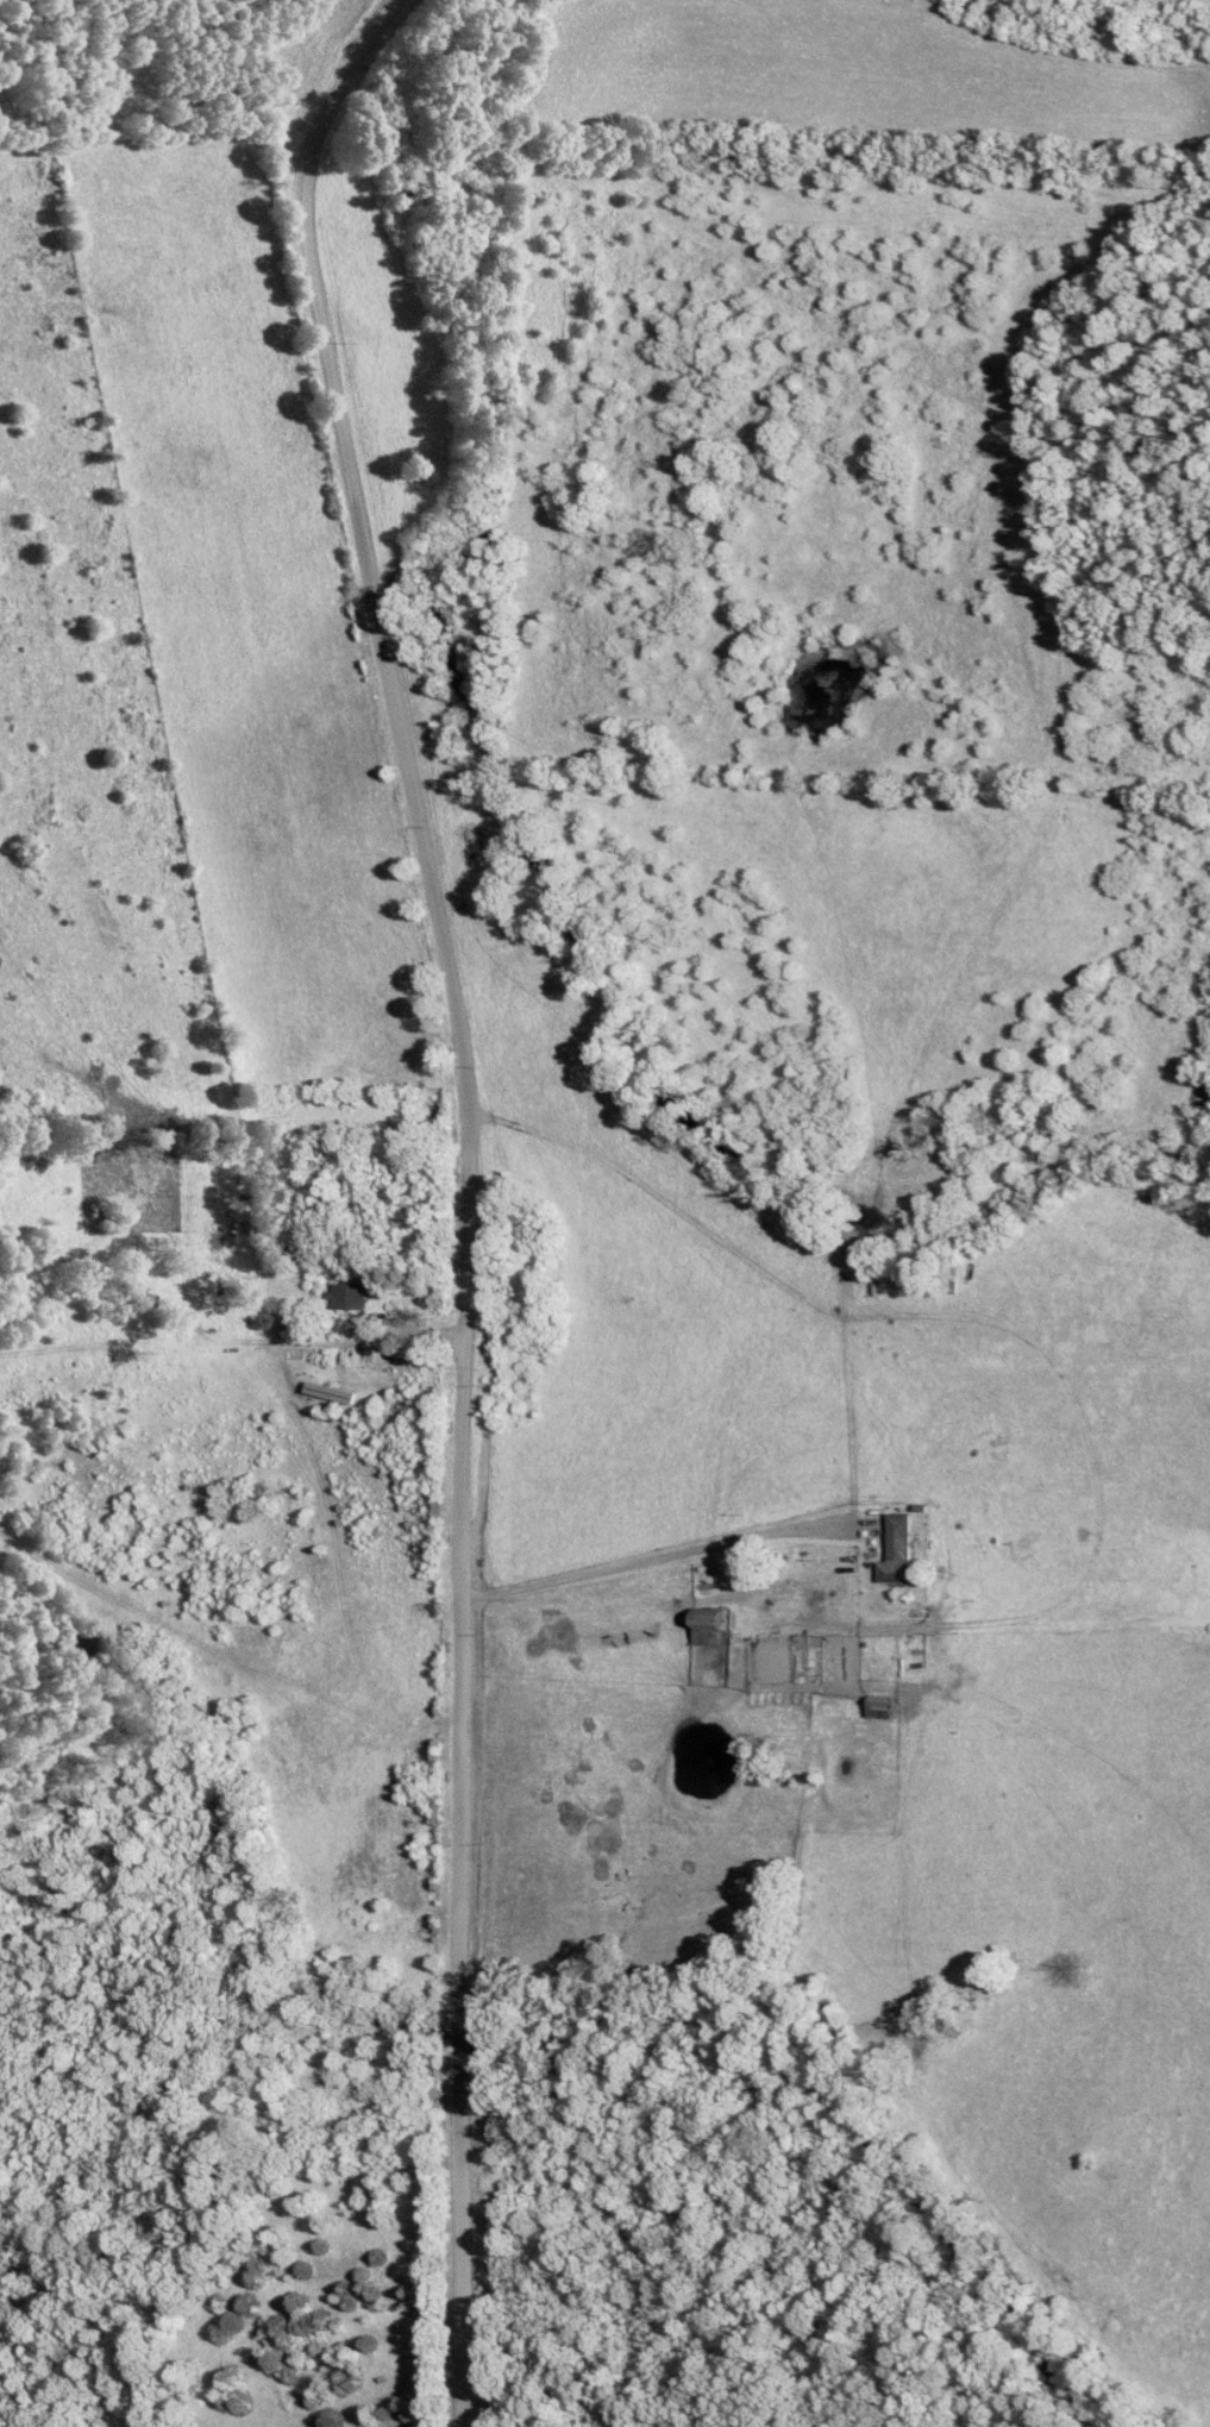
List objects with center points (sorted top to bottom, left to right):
road: (158, 127)
road: (371, 150)
road: (462, 1193)
building: (346, 1303)
building: (897, 1543)
road: (642, 1559)
building: (706, 1624)
building: (876, 1702)
building: (874, 1713)
road: (234, 2111)
park: (720, 2227)

